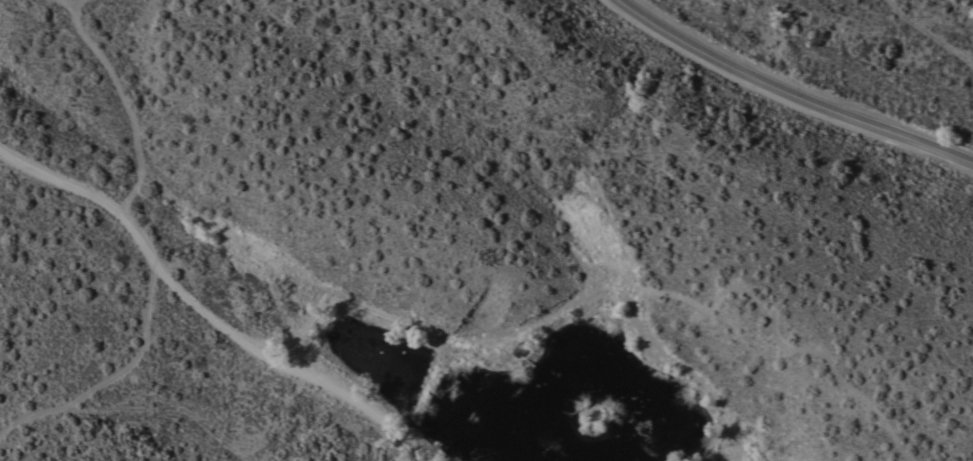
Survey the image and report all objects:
road: (801, 100)
road: (373, 195)

